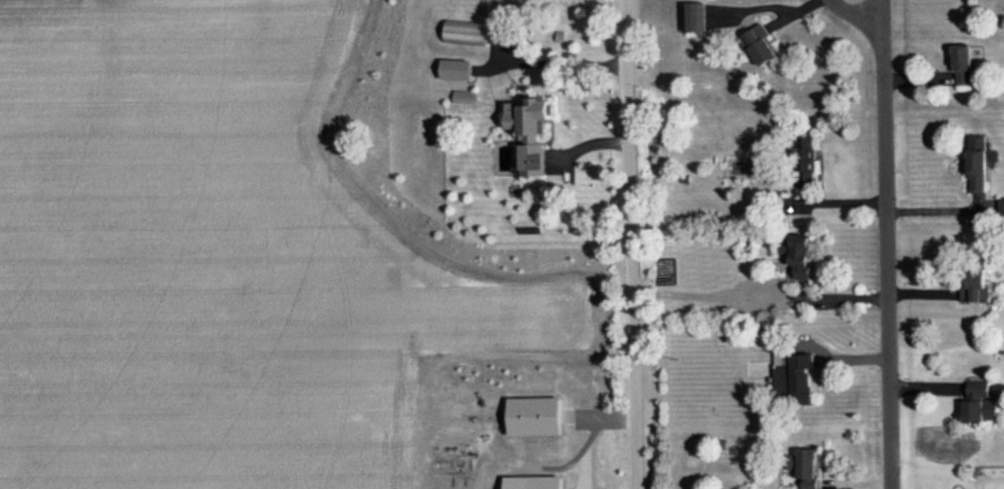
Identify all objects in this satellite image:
building: (694, 16)
building: (464, 32)
building: (761, 44)
road: (560, 60)
building: (962, 64)
building: (456, 68)
building: (465, 96)
building: (532, 132)
building: (804, 157)
building: (976, 163)
road: (836, 199)
building: (1001, 206)
road: (940, 210)
road: (888, 242)
road: (631, 244)
building: (796, 253)
building: (974, 284)
road: (921, 296)
building: (795, 375)
building: (978, 402)
building: (534, 415)
building: (803, 466)
building: (533, 482)

